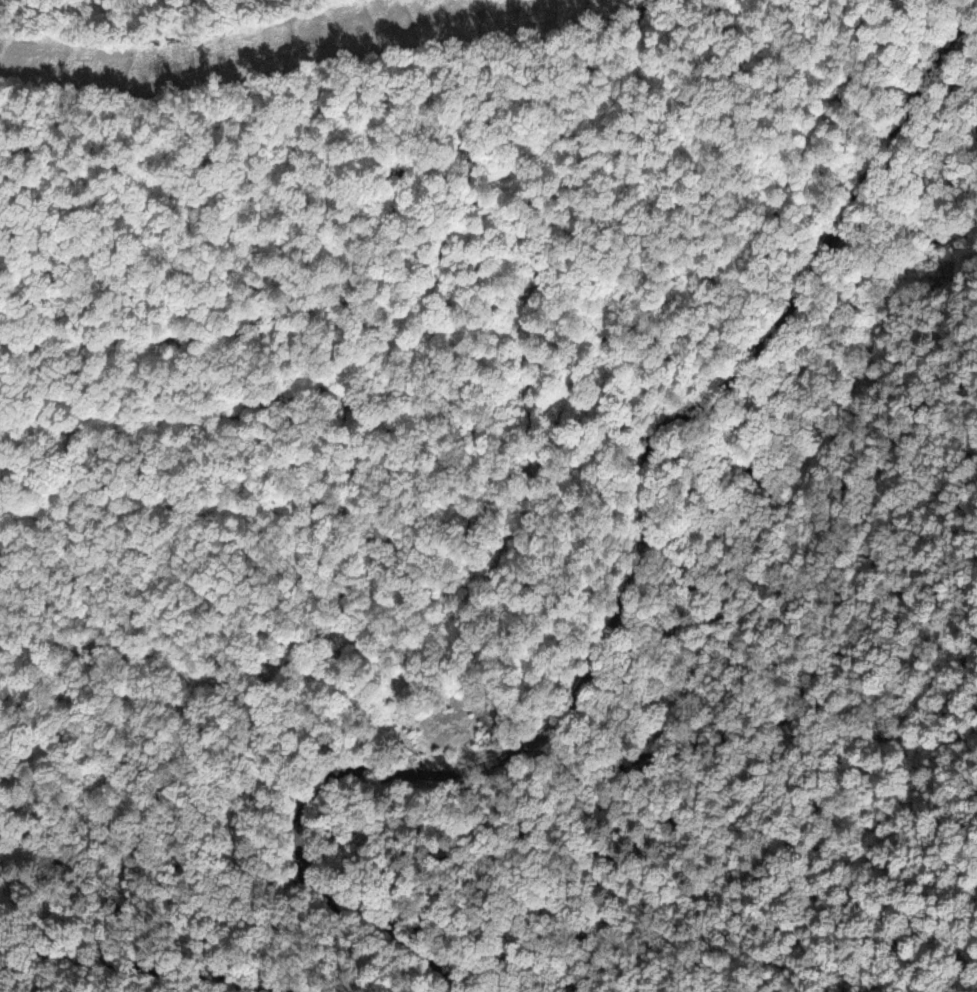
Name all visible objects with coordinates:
road: (633, 592)
road: (154, 971)

